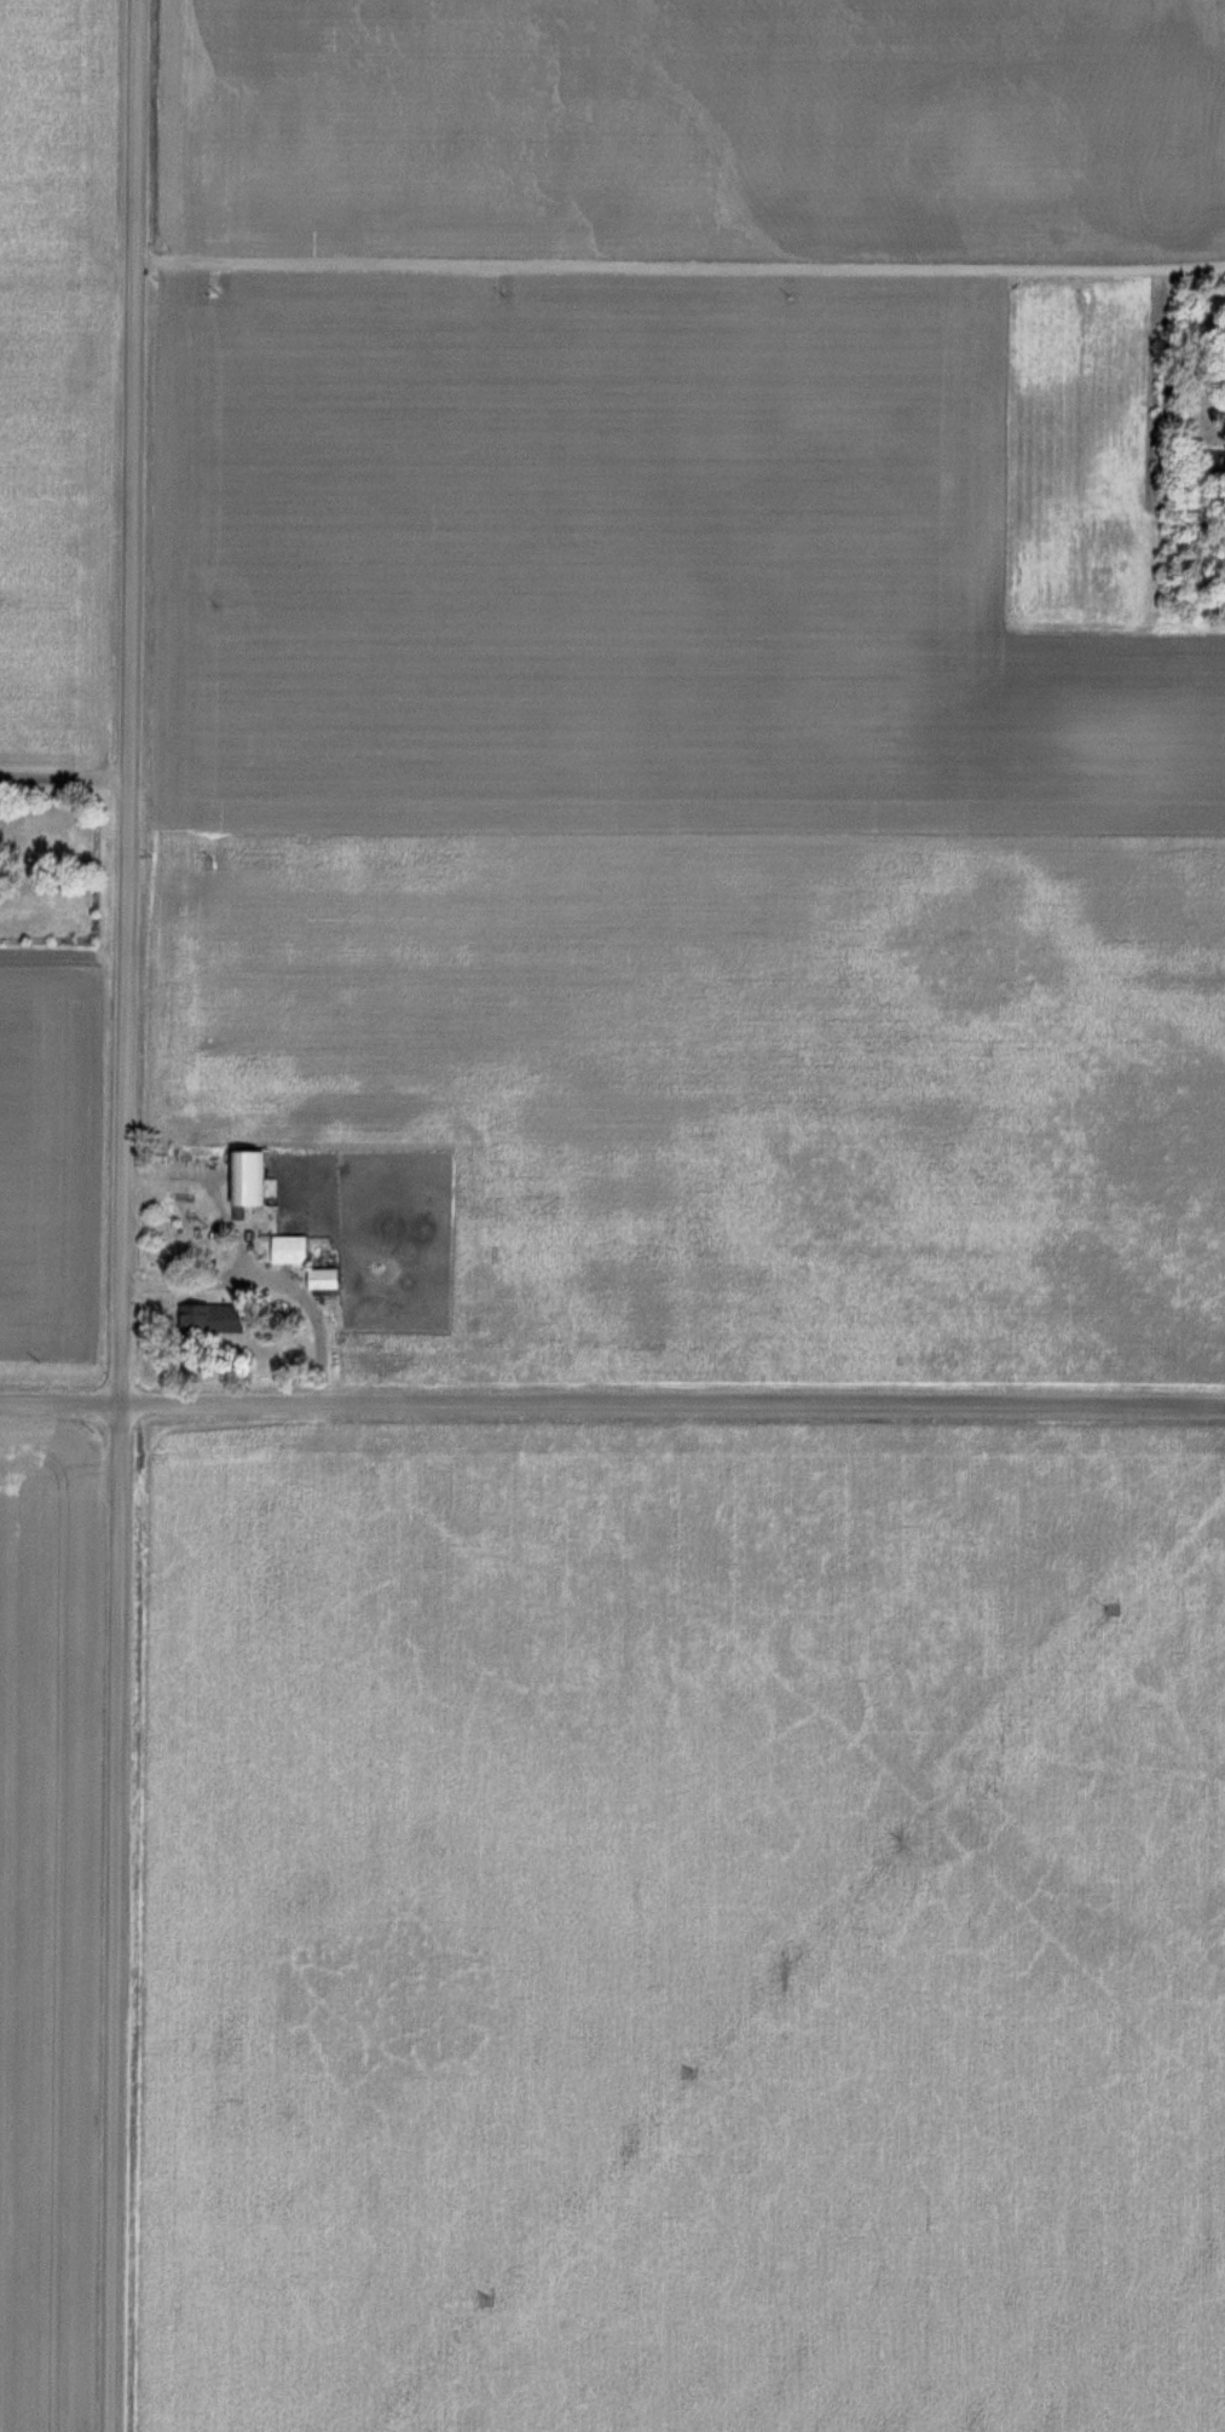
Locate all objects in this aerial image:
road: (684, 270)
road: (68, 778)
building: (258, 1176)
road: (129, 1215)
building: (299, 1250)
building: (333, 1279)
building: (233, 1319)
road: (612, 1406)

